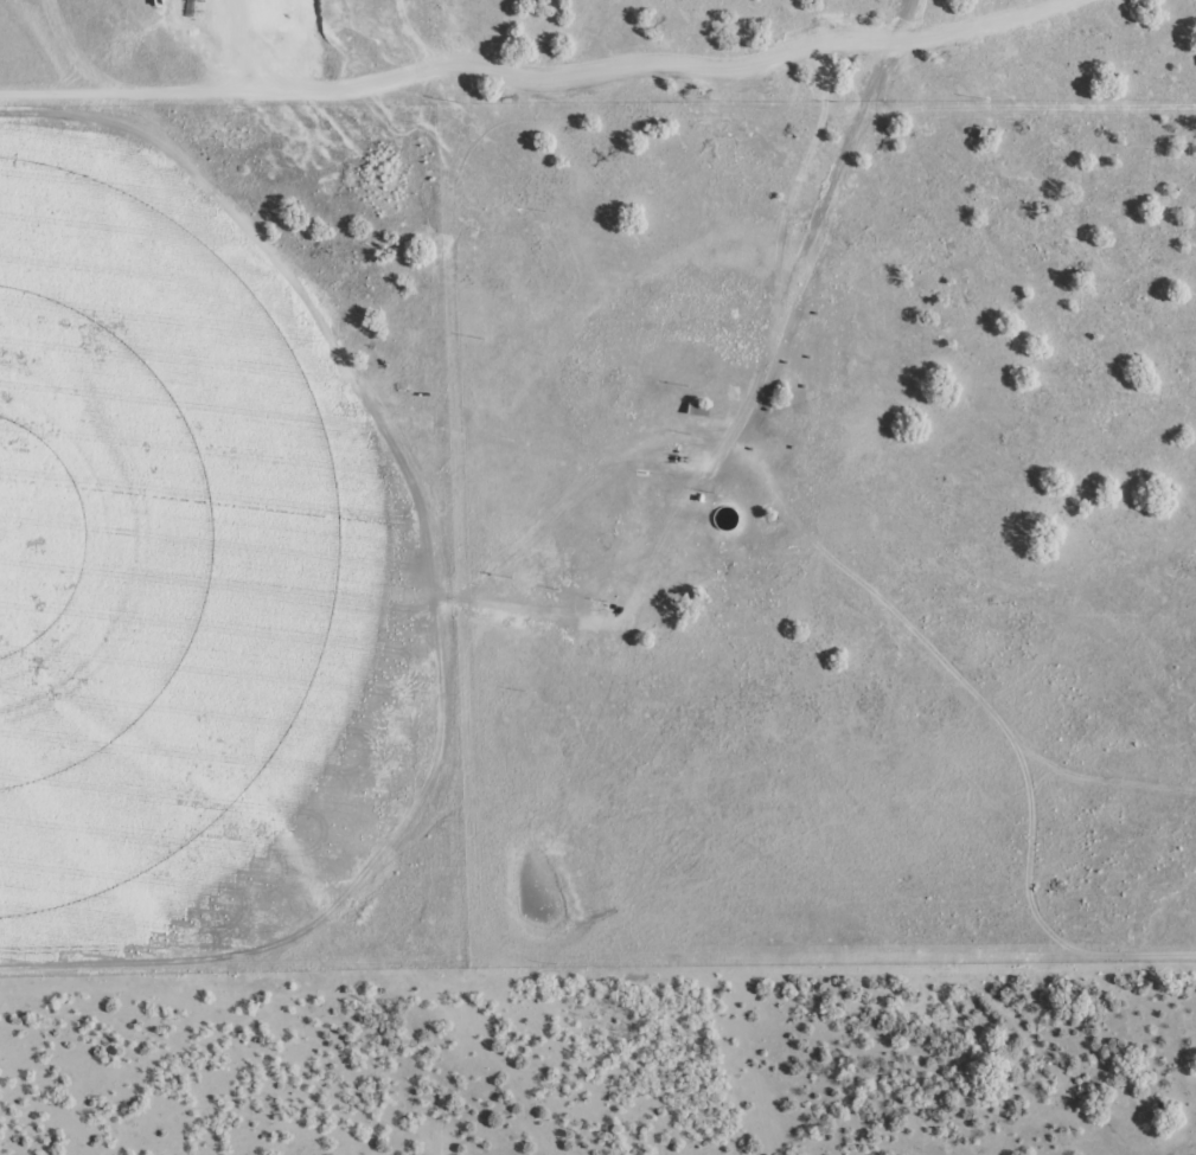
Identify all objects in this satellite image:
building: (737, 393)
road: (295, 397)
building: (696, 410)

